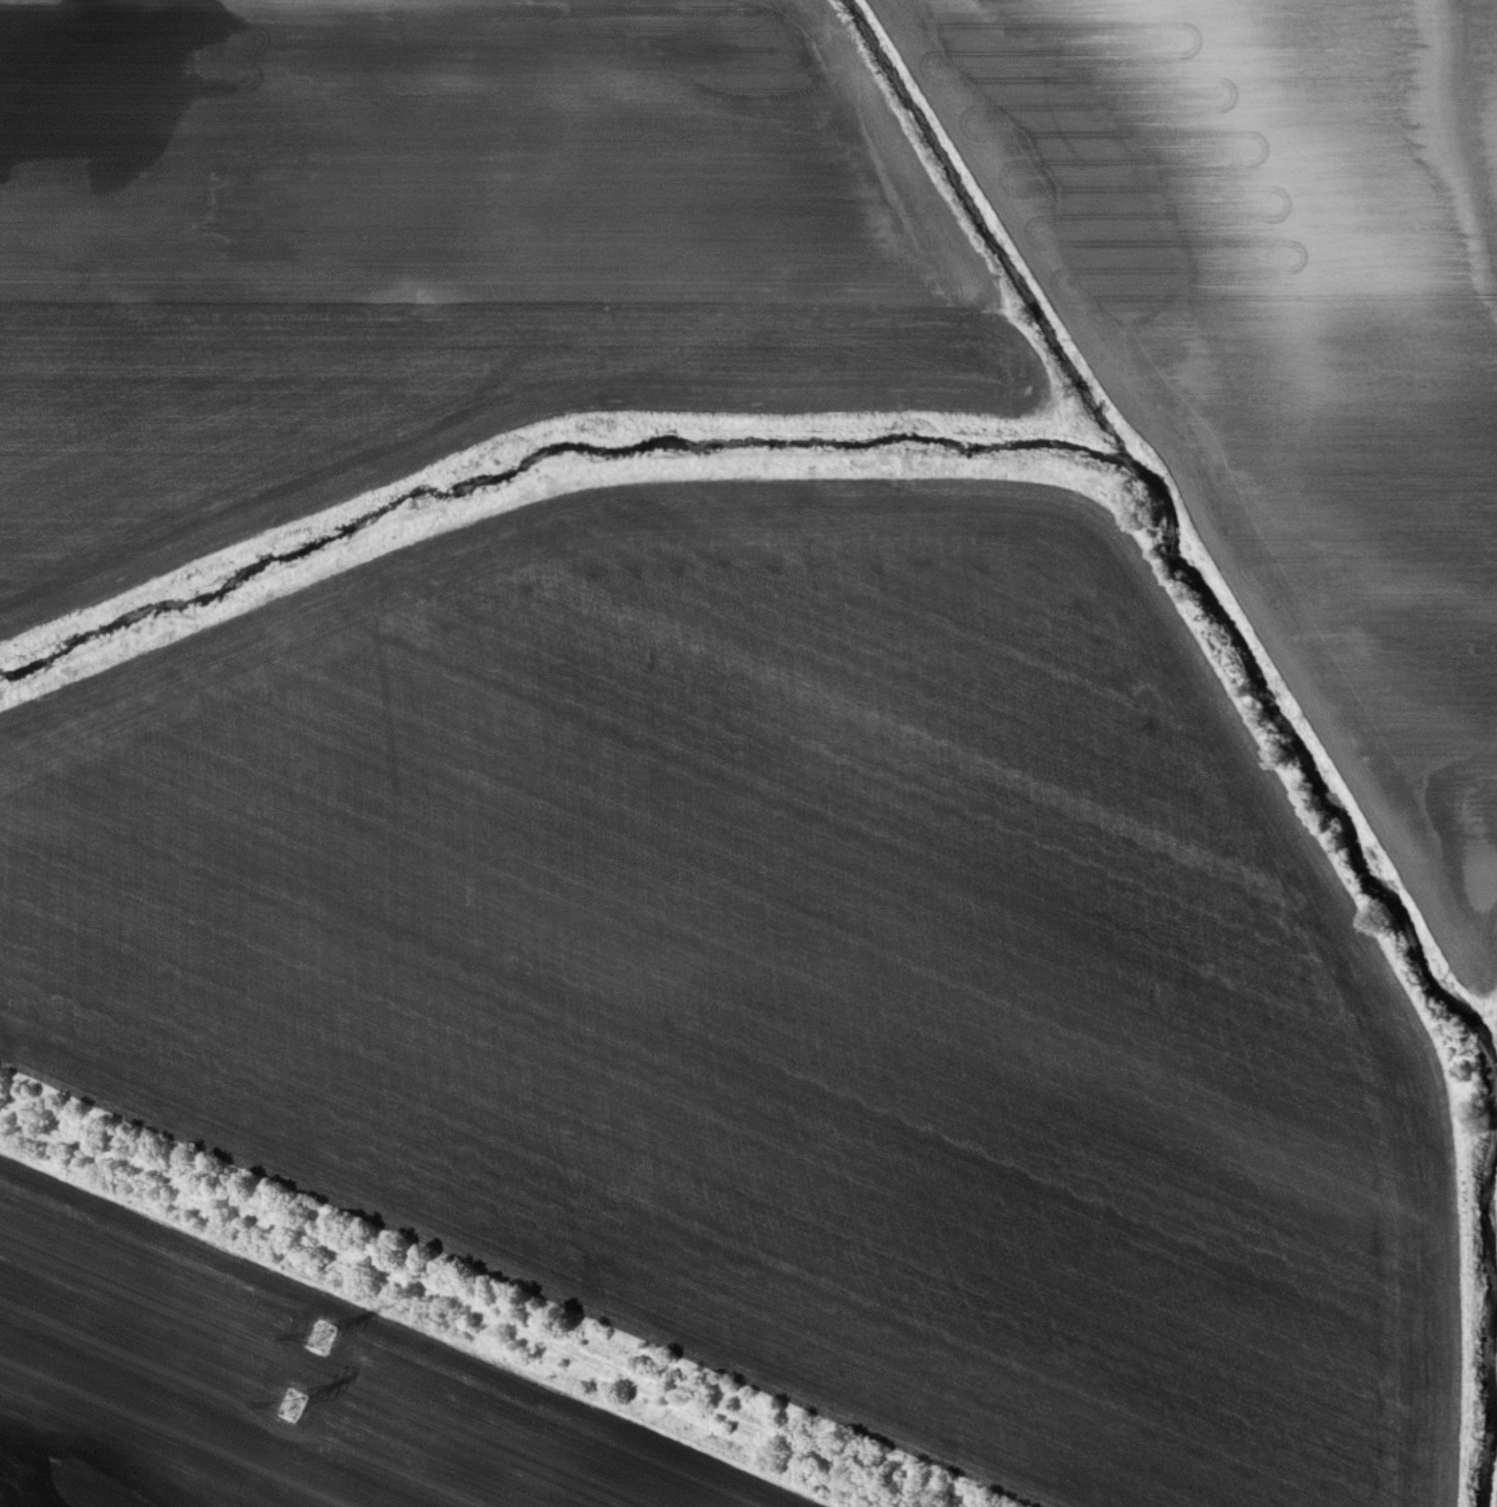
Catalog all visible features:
power tower: (323, 1332)
power tower: (289, 1404)

